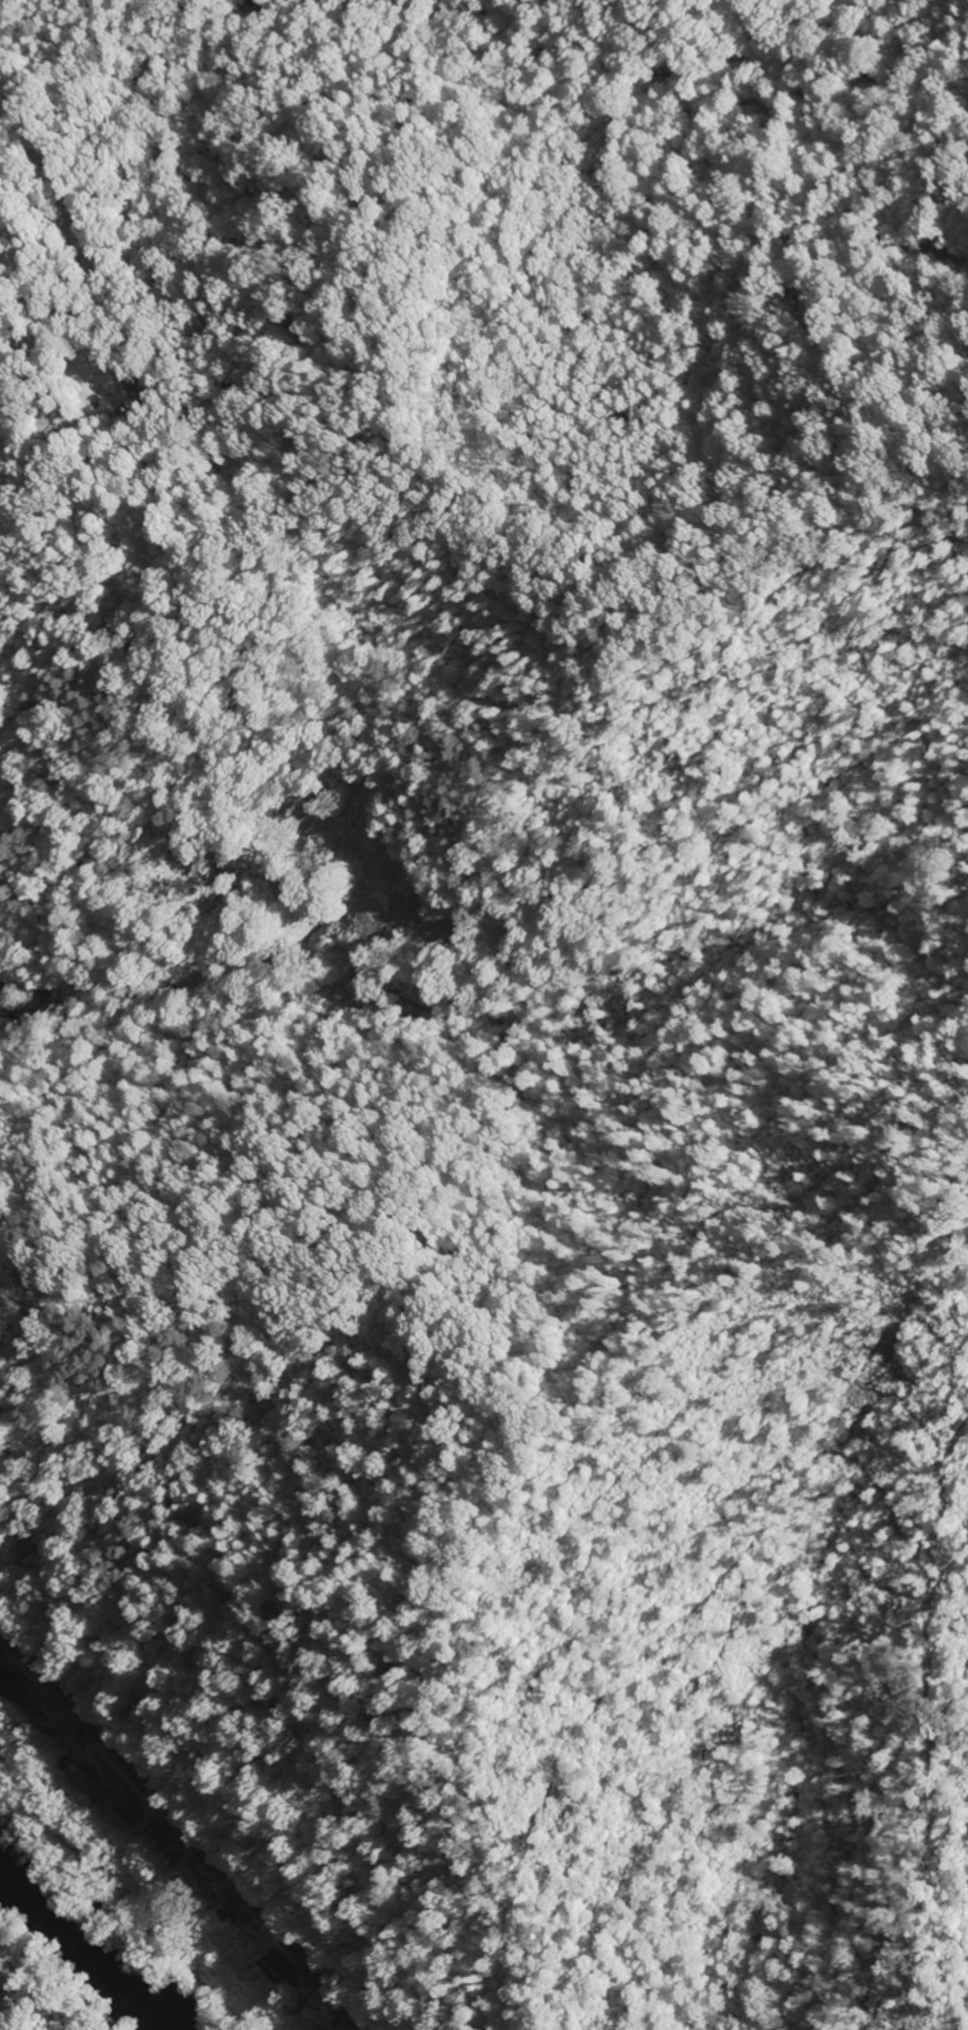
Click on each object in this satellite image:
road: (487, 276)
building: (7, 1689)
building: (87, 1785)
road: (181, 1830)
building: (154, 1836)
river: (30, 1912)
building: (271, 1968)
river: (113, 1987)

